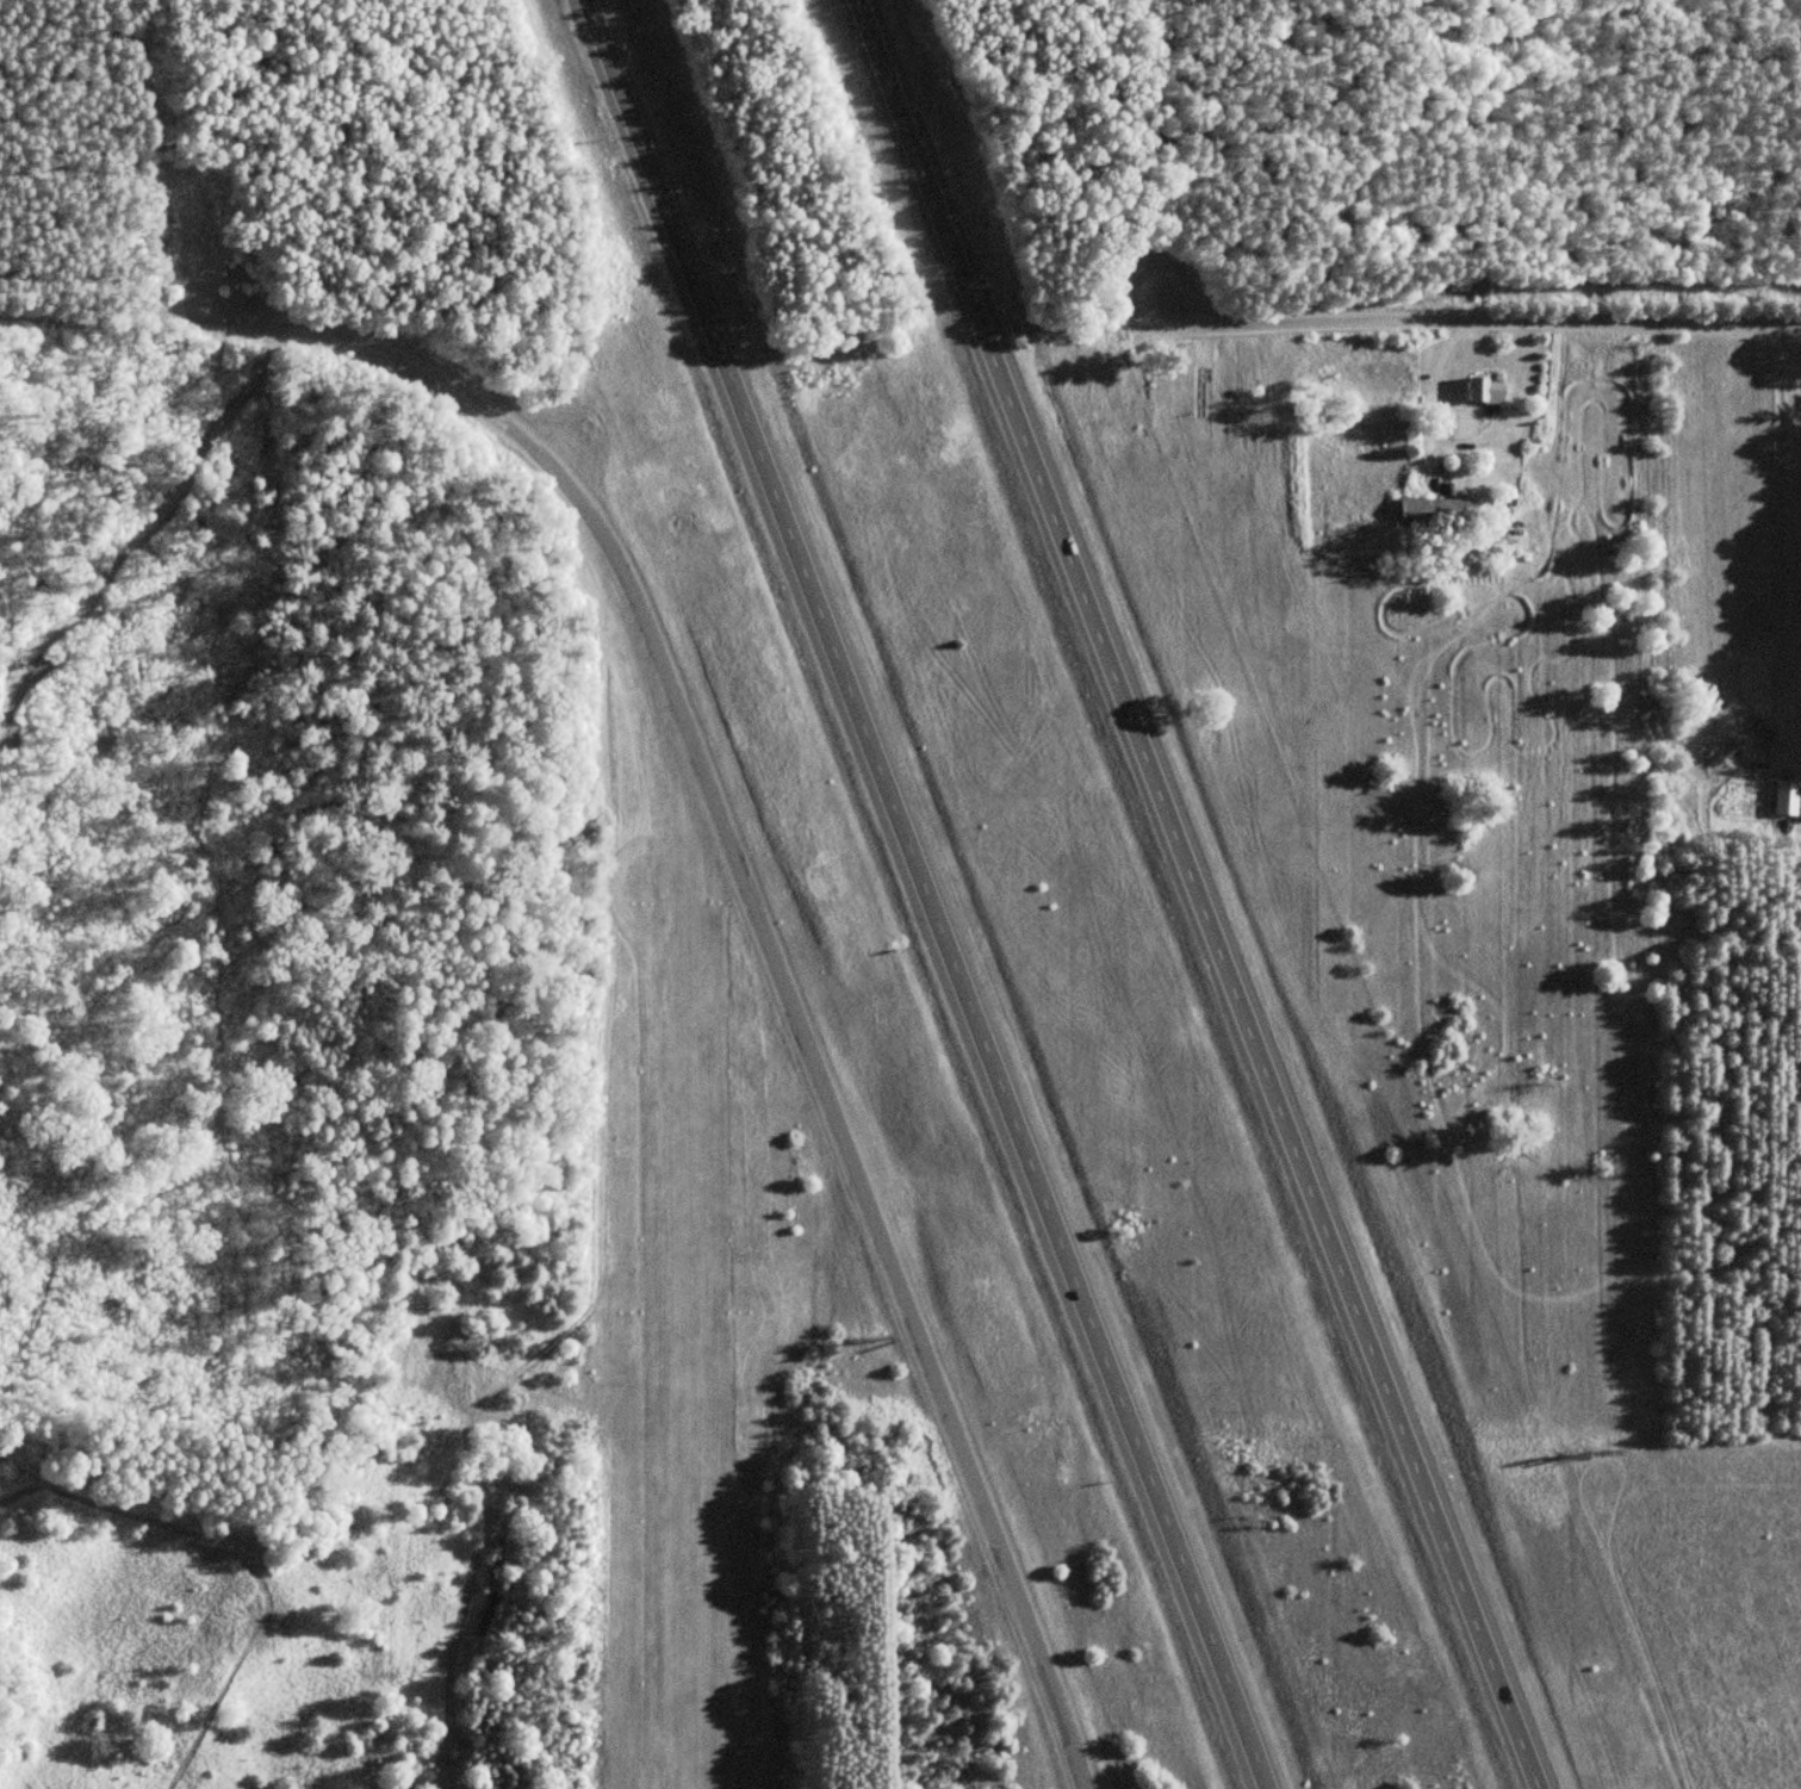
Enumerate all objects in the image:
road: (172, 319)
road: (1482, 322)
road: (1436, 389)
building: (1484, 390)
building: (1434, 511)
road: (1794, 518)
building: (1784, 796)
road: (924, 890)
road: (1197, 893)
road: (787, 1007)
airport runway: (672, 1349)
building: (493, 1559)
building: (484, 1614)

